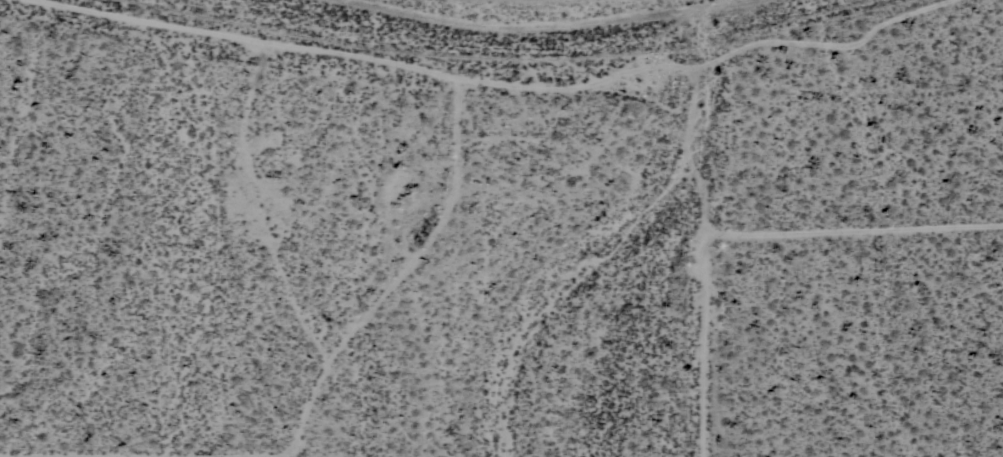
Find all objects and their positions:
road: (515, 79)
road: (853, 224)
road: (398, 274)
road: (704, 343)
road: (145, 449)

